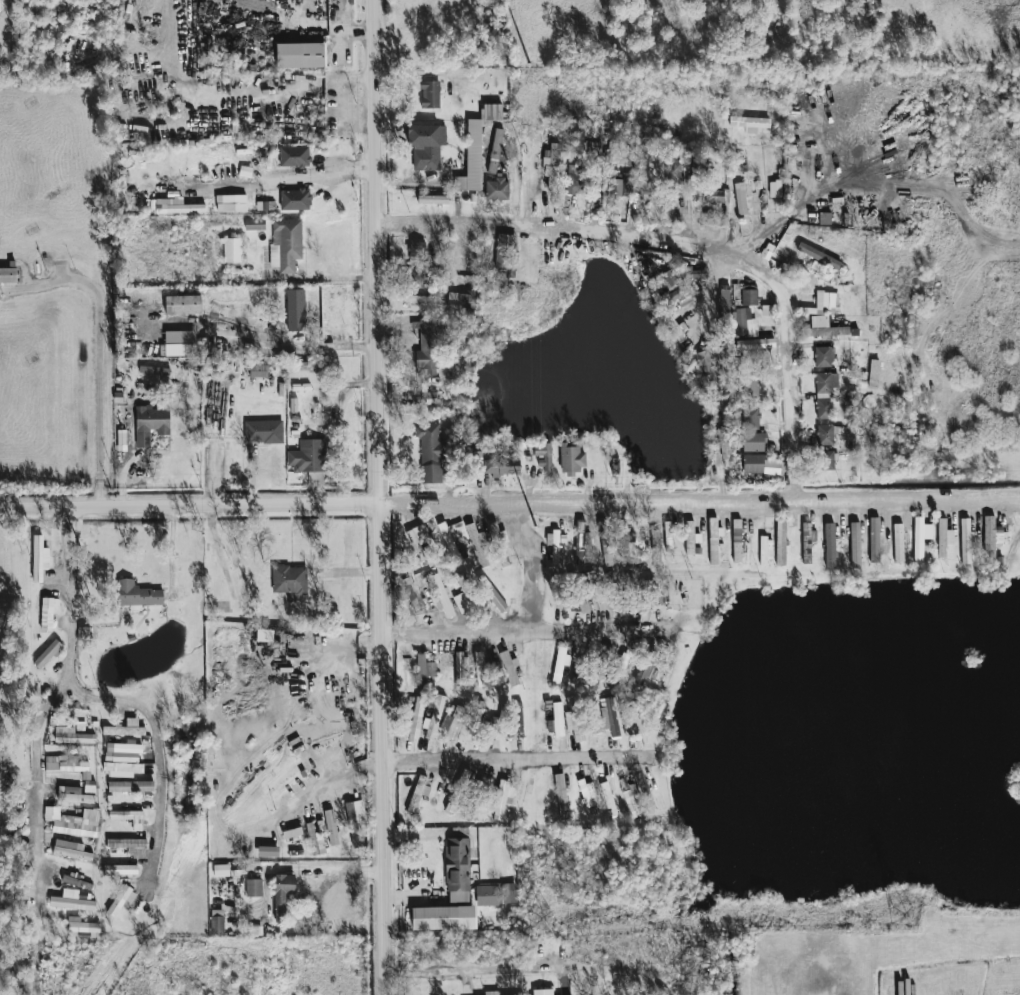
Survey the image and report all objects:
road: (312, 22)
building: (301, 55)
power tower: (529, 65)
building: (430, 94)
building: (493, 111)
building: (741, 121)
building: (426, 145)
building: (495, 150)
building: (294, 156)
building: (471, 158)
building: (552, 165)
building: (245, 171)
building: (675, 174)
building: (575, 179)
road: (279, 181)
building: (622, 185)
building: (496, 189)
building: (717, 196)
building: (295, 199)
building: (433, 199)
building: (231, 203)
building: (265, 205)
building: (180, 206)
building: (825, 218)
building: (255, 224)
building: (286, 244)
building: (232, 250)
building: (506, 253)
building: (818, 255)
road: (691, 258)
building: (416, 262)
building: (693, 272)
building: (8, 275)
building: (666, 279)
building: (458, 295)
building: (749, 297)
building: (416, 298)
building: (826, 301)
building: (723, 303)
building: (183, 304)
building: (295, 309)
building: (744, 323)
building: (828, 331)
building: (755, 344)
building: (429, 345)
road: (99, 347)
building: (824, 356)
building: (310, 366)
building: (704, 366)
building: (154, 370)
building: (258, 370)
building: (750, 387)
building: (825, 394)
building: (751, 418)
building: (150, 424)
building: (263, 431)
building: (825, 434)
building: (754, 441)
building: (431, 453)
building: (544, 454)
building: (308, 456)
building: (572, 459)
building: (825, 460)
building: (760, 464)
building: (501, 466)
road: (380, 497)
road: (510, 501)
power tower: (535, 528)
building: (460, 532)
building: (714, 535)
building: (992, 535)
building: (669, 536)
building: (691, 537)
building: (921, 537)
building: (944, 537)
building: (737, 540)
building: (967, 540)
building: (449, 541)
building: (781, 541)
building: (581, 542)
building: (623, 542)
building: (655, 542)
building: (808, 542)
building: (419, 543)
building: (898, 543)
building: (477, 544)
building: (555, 544)
building: (868, 544)
building: (830, 546)
building: (765, 549)
building: (502, 555)
road: (536, 563)
building: (289, 579)
building: (462, 580)
building: (596, 590)
building: (633, 591)
building: (410, 592)
building: (491, 593)
building: (654, 593)
building: (138, 594)
building: (442, 595)
building: (462, 602)
building: (583, 605)
building: (47, 614)
road: (525, 631)
building: (48, 653)
building: (559, 665)
building: (621, 666)
building: (509, 667)
building: (460, 668)
building: (480, 668)
building: (424, 670)
building: (579, 670)
road: (43, 706)
road: (508, 707)
building: (609, 716)
building: (435, 717)
building: (558, 718)
building: (593, 718)
building: (633, 718)
building: (416, 719)
building: (574, 719)
building: (59, 720)
building: (451, 720)
building: (509, 720)
building: (125, 728)
building: (72, 735)
road: (156, 744)
building: (123, 751)
building: (65, 763)
road: (516, 769)
building: (131, 785)
building: (89, 786)
building: (627, 787)
building: (457, 790)
building: (645, 791)
building: (419, 792)
building: (587, 792)
building: (74, 795)
building: (561, 795)
building: (477, 797)
building: (608, 798)
building: (501, 799)
building: (632, 806)
building: (355, 811)
building: (129, 817)
building: (71, 823)
building: (331, 827)
building: (315, 840)
building: (129, 845)
building: (71, 850)
road: (317, 868)
building: (120, 869)
building: (221, 870)
building: (457, 870)
building: (76, 882)
building: (253, 888)
building: (509, 893)
building: (283, 894)
building: (487, 895)
building: (119, 900)
building: (71, 901)
building: (443, 917)
power tower: (903, 917)
power tower: (540, 920)
building: (217, 923)
building: (81, 925)
road: (474, 968)
building: (492, 992)
building: (542, 992)

